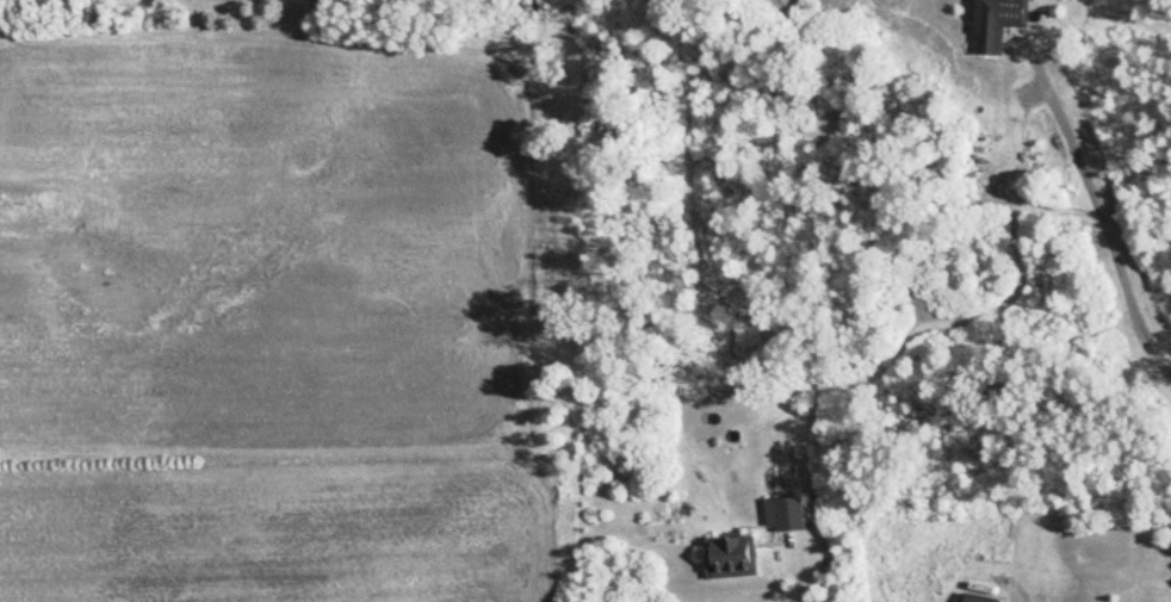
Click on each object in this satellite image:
building: (1000, 21)
road: (1107, 226)
road: (786, 292)
road: (692, 328)
building: (786, 513)
building: (733, 557)
road: (803, 573)
building: (983, 598)

